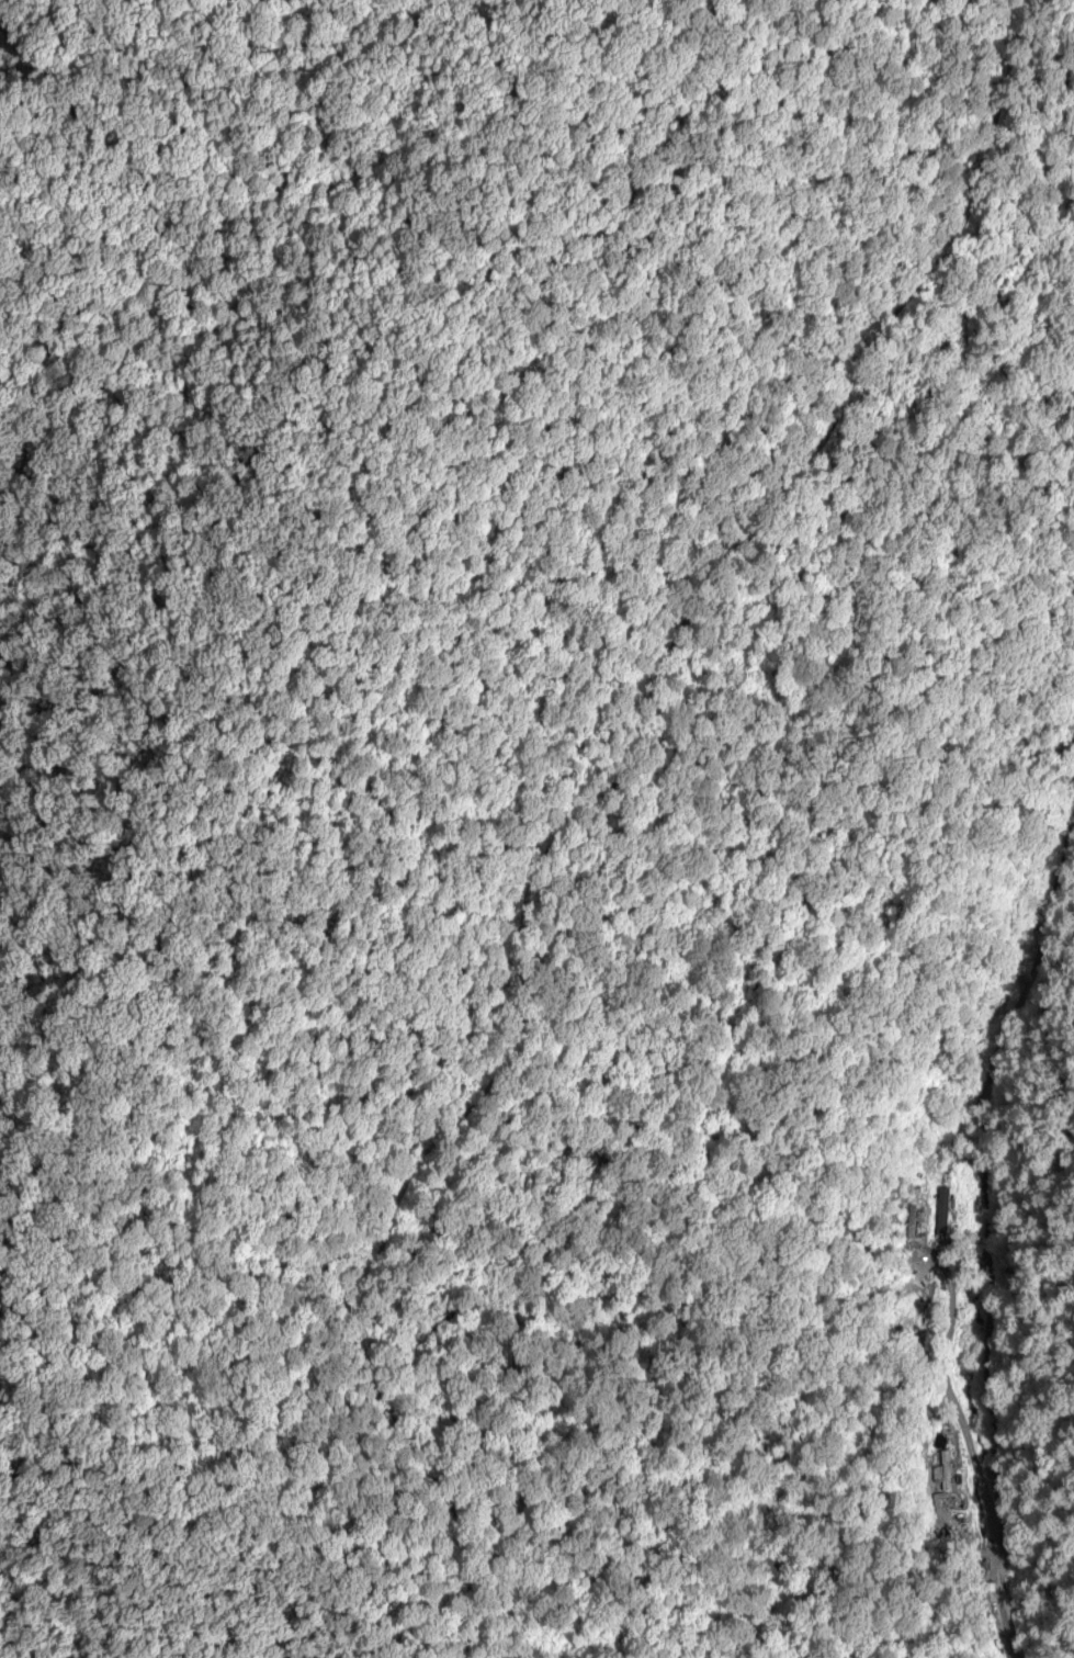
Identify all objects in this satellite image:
building: (931, 1215)
road: (973, 1457)

